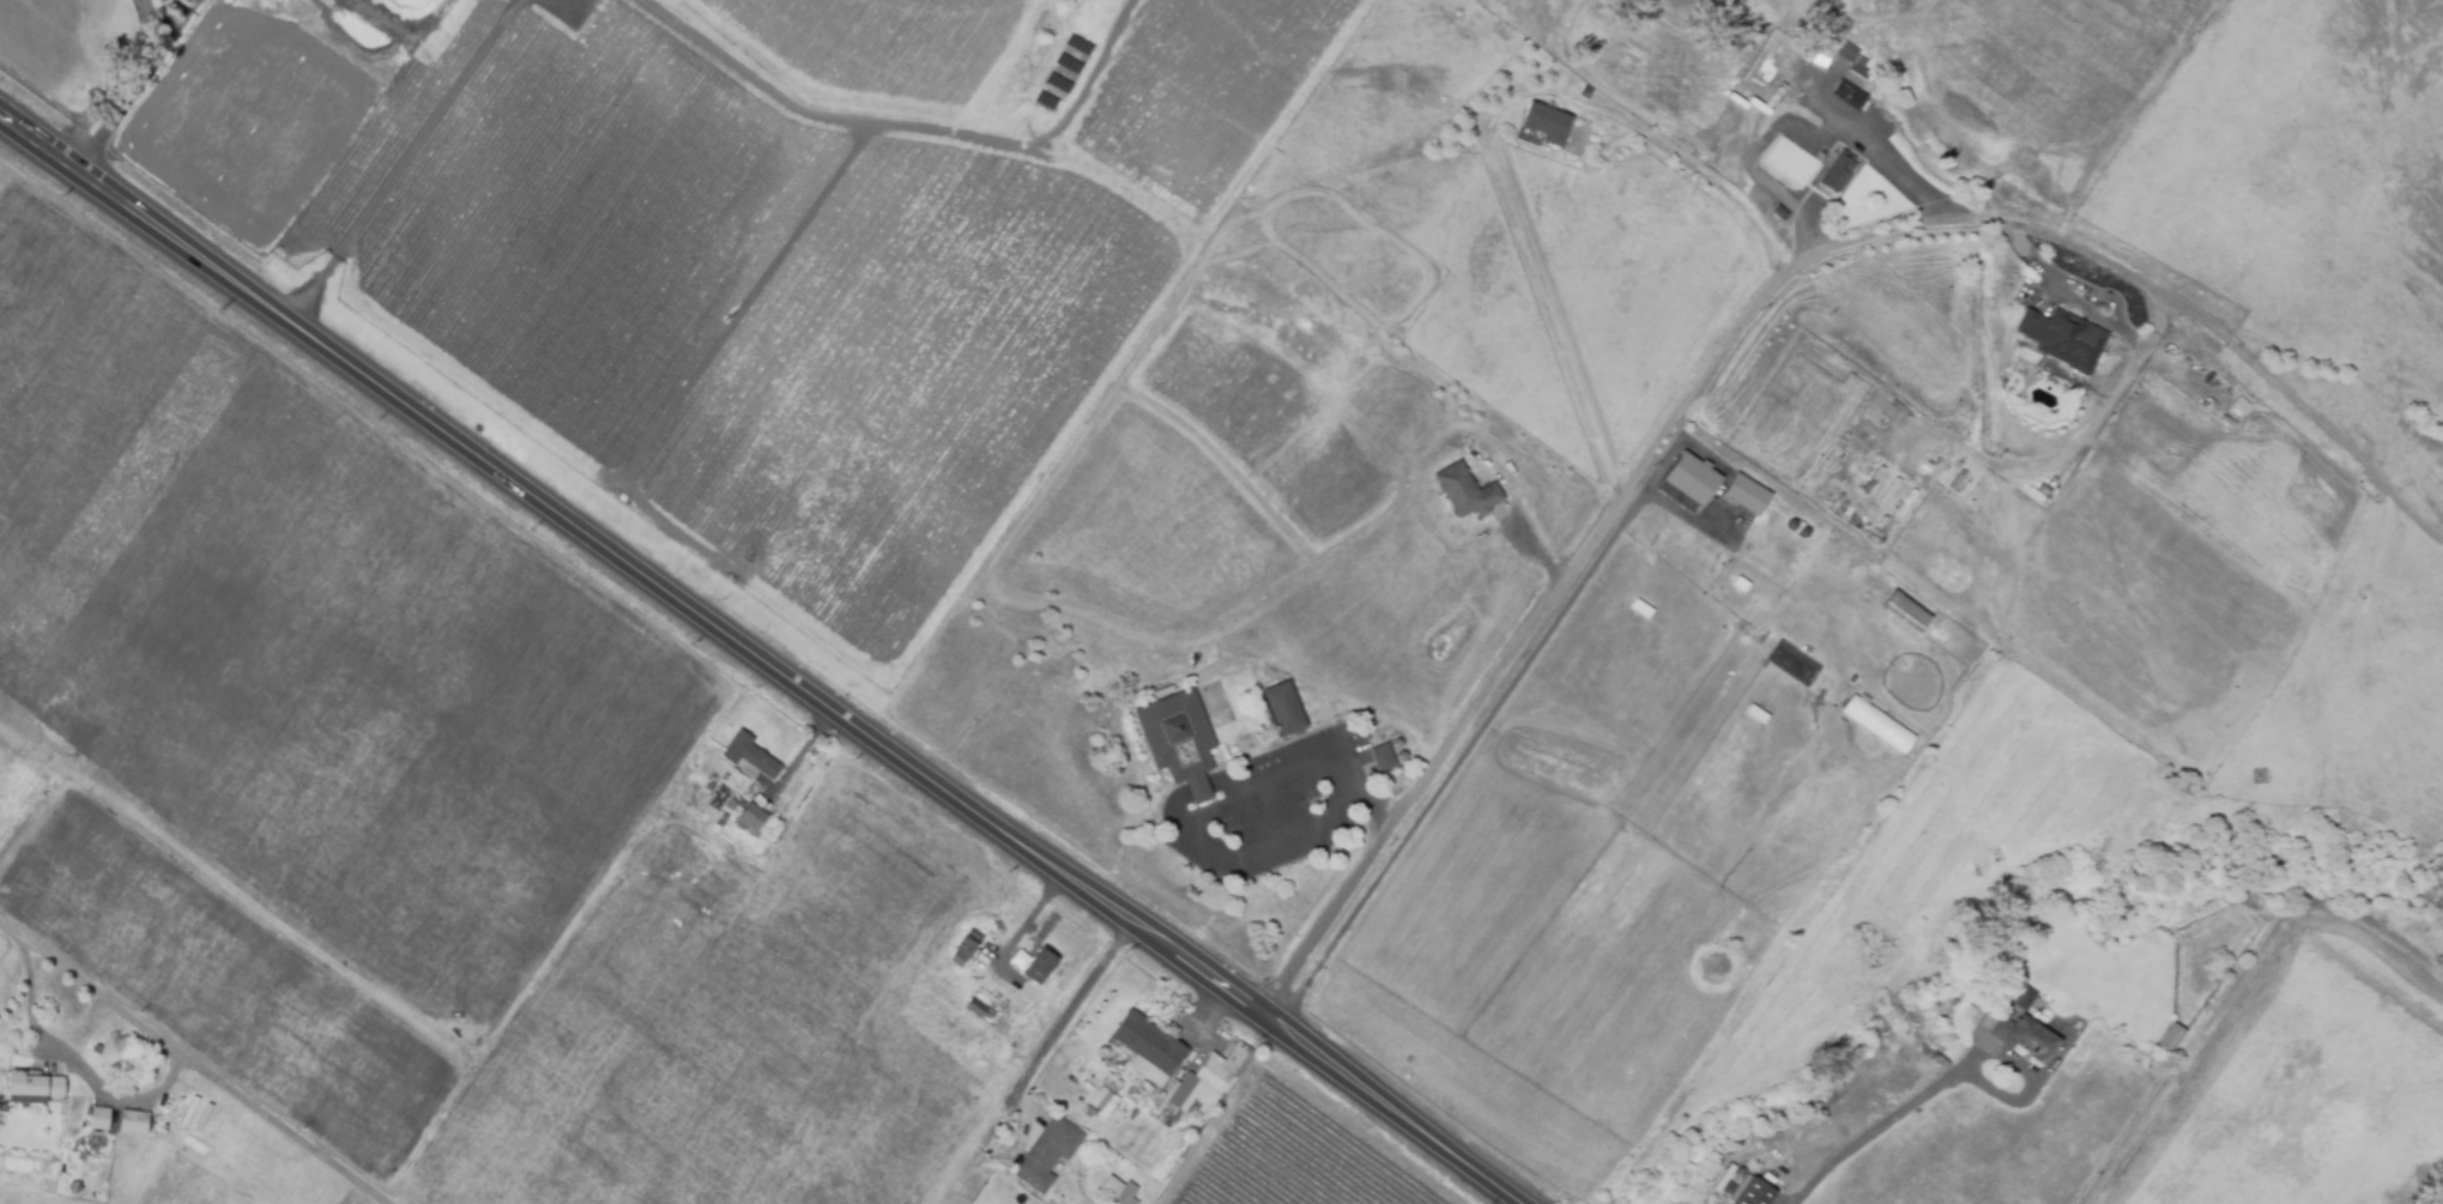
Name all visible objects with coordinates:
road: (176, 26)
building: (1802, 56)
building: (1767, 61)
building: (1852, 63)
building: (1849, 65)
road: (132, 86)
building: (1588, 90)
building: (1851, 93)
road: (1830, 111)
building: (1888, 119)
building: (1548, 122)
building: (1733, 128)
building: (1877, 129)
road: (1493, 134)
building: (1743, 137)
road: (403, 159)
building: (1842, 170)
road: (1759, 176)
building: (1783, 211)
road: (2072, 292)
building: (2063, 338)
building: (2231, 415)
road: (2293, 416)
road: (2076, 447)
building: (1694, 478)
road: (1633, 483)
building: (1469, 490)
building: (1755, 503)
building: (1909, 611)
road: (760, 658)
building: (1217, 697)
building: (1283, 710)
building: (1880, 724)
building: (1365, 732)
building: (1181, 739)
building: (752, 756)
building: (1385, 756)
building: (712, 786)
building: (733, 804)
road: (1208, 811)
building: (755, 815)
building: (972, 940)
building: (961, 958)
building: (1042, 966)
building: (2026, 997)
building: (979, 1006)
road: (36, 1029)
building: (2027, 1036)
building: (2172, 1039)
building: (1151, 1045)
building: (99, 1048)
building: (1021, 1055)
building: (2163, 1059)
road: (194, 1061)
road: (1027, 1072)
building: (1211, 1079)
building: (1119, 1083)
building: (35, 1087)
building: (1102, 1097)
road: (126, 1101)
building: (102, 1117)
building: (135, 1121)
building: (1, 1125)
road: (1881, 1125)
building: (1050, 1152)
building: (40, 1168)
building: (49, 1178)
building: (1755, 1192)
building: (1129, 1193)

